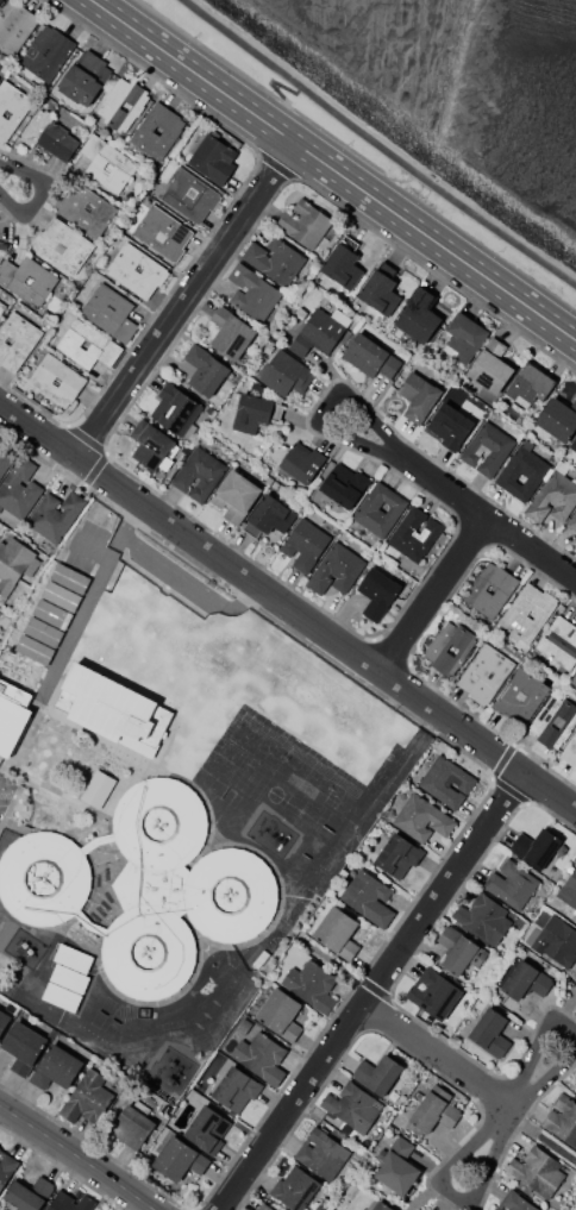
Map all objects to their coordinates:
building: (0, 0)
building: (14, 27)
building: (46, 52)
building: (83, 76)
road: (258, 86)
building: (121, 104)
building: (11, 107)
building: (156, 130)
building: (48, 134)
building: (212, 159)
building: (106, 164)
road: (275, 167)
road: (333, 169)
road: (42, 190)
road: (51, 190)
building: (188, 195)
building: (86, 209)
road: (219, 218)
building: (303, 222)
building: (163, 232)
building: (62, 245)
building: (274, 259)
building: (342, 264)
building: (136, 271)
building: (27, 280)
building: (252, 293)
building: (380, 293)
road: (188, 302)
building: (1, 307)
building: (109, 312)
building: (418, 315)
building: (230, 332)
building: (317, 333)
building: (464, 337)
building: (15, 340)
building: (86, 344)
building: (370, 356)
building: (490, 366)
building: (206, 370)
building: (284, 374)
building: (56, 380)
building: (530, 385)
building: (418, 397)
road: (327, 407)
building: (174, 409)
building: (251, 412)
building: (558, 419)
building: (450, 426)
building: (149, 444)
building: (574, 444)
building: (487, 447)
road: (100, 449)
building: (301, 460)
building: (5, 463)
building: (521, 469)
building: (199, 474)
building: (19, 488)
building: (344, 488)
building: (234, 496)
building: (552, 499)
building: (378, 509)
building: (55, 516)
road: (129, 516)
building: (269, 516)
road: (483, 519)
building: (572, 521)
road: (472, 532)
building: (414, 534)
road: (118, 539)
building: (303, 545)
building: (575, 546)
road: (238, 551)
building: (14, 563)
building: (334, 569)
road: (570, 577)
road: (187, 578)
building: (489, 589)
road: (93, 591)
building: (377, 593)
road: (431, 593)
road: (290, 604)
building: (52, 612)
building: (527, 612)
road: (413, 644)
building: (558, 645)
building: (446, 646)
road: (390, 650)
building: (486, 673)
building: (572, 679)
building: (520, 696)
building: (113, 709)
building: (12, 715)
building: (553, 722)
building: (570, 751)
road: (493, 777)
building: (446, 780)
building: (96, 788)
building: (422, 819)
road: (453, 841)
building: (537, 847)
building: (397, 855)
building: (43, 878)
building: (511, 884)
building: (569, 888)
building: (175, 889)
road: (443, 890)
building: (368, 897)
building: (483, 919)
building: (337, 933)
building: (556, 941)
building: (459, 951)
building: (68, 976)
road: (396, 977)
building: (526, 980)
building: (309, 984)
road: (375, 988)
building: (433, 993)
building: (280, 1014)
road: (380, 1014)
building: (4, 1018)
building: (490, 1033)
road: (390, 1040)
building: (23, 1047)
building: (261, 1058)
road: (443, 1058)
building: (56, 1067)
building: (377, 1073)
road: (521, 1084)
building: (236, 1089)
road: (490, 1091)
building: (575, 1091)
building: (87, 1098)
road: (293, 1108)
building: (353, 1108)
building: (434, 1110)
building: (563, 1120)
building: (131, 1127)
road: (514, 1127)
building: (207, 1130)
road: (540, 1139)
building: (321, 1154)
building: (180, 1159)
road: (77, 1160)
building: (6, 1167)
road: (63, 1167)
building: (396, 1167)
building: (537, 1171)
building: (295, 1189)
building: (27, 1192)
road: (453, 1196)
building: (70, 1200)
building: (515, 1202)
building: (381, 1206)
road: (190, 1208)
building: (263, 1208)
building: (318, 1208)
building: (496, 1209)

